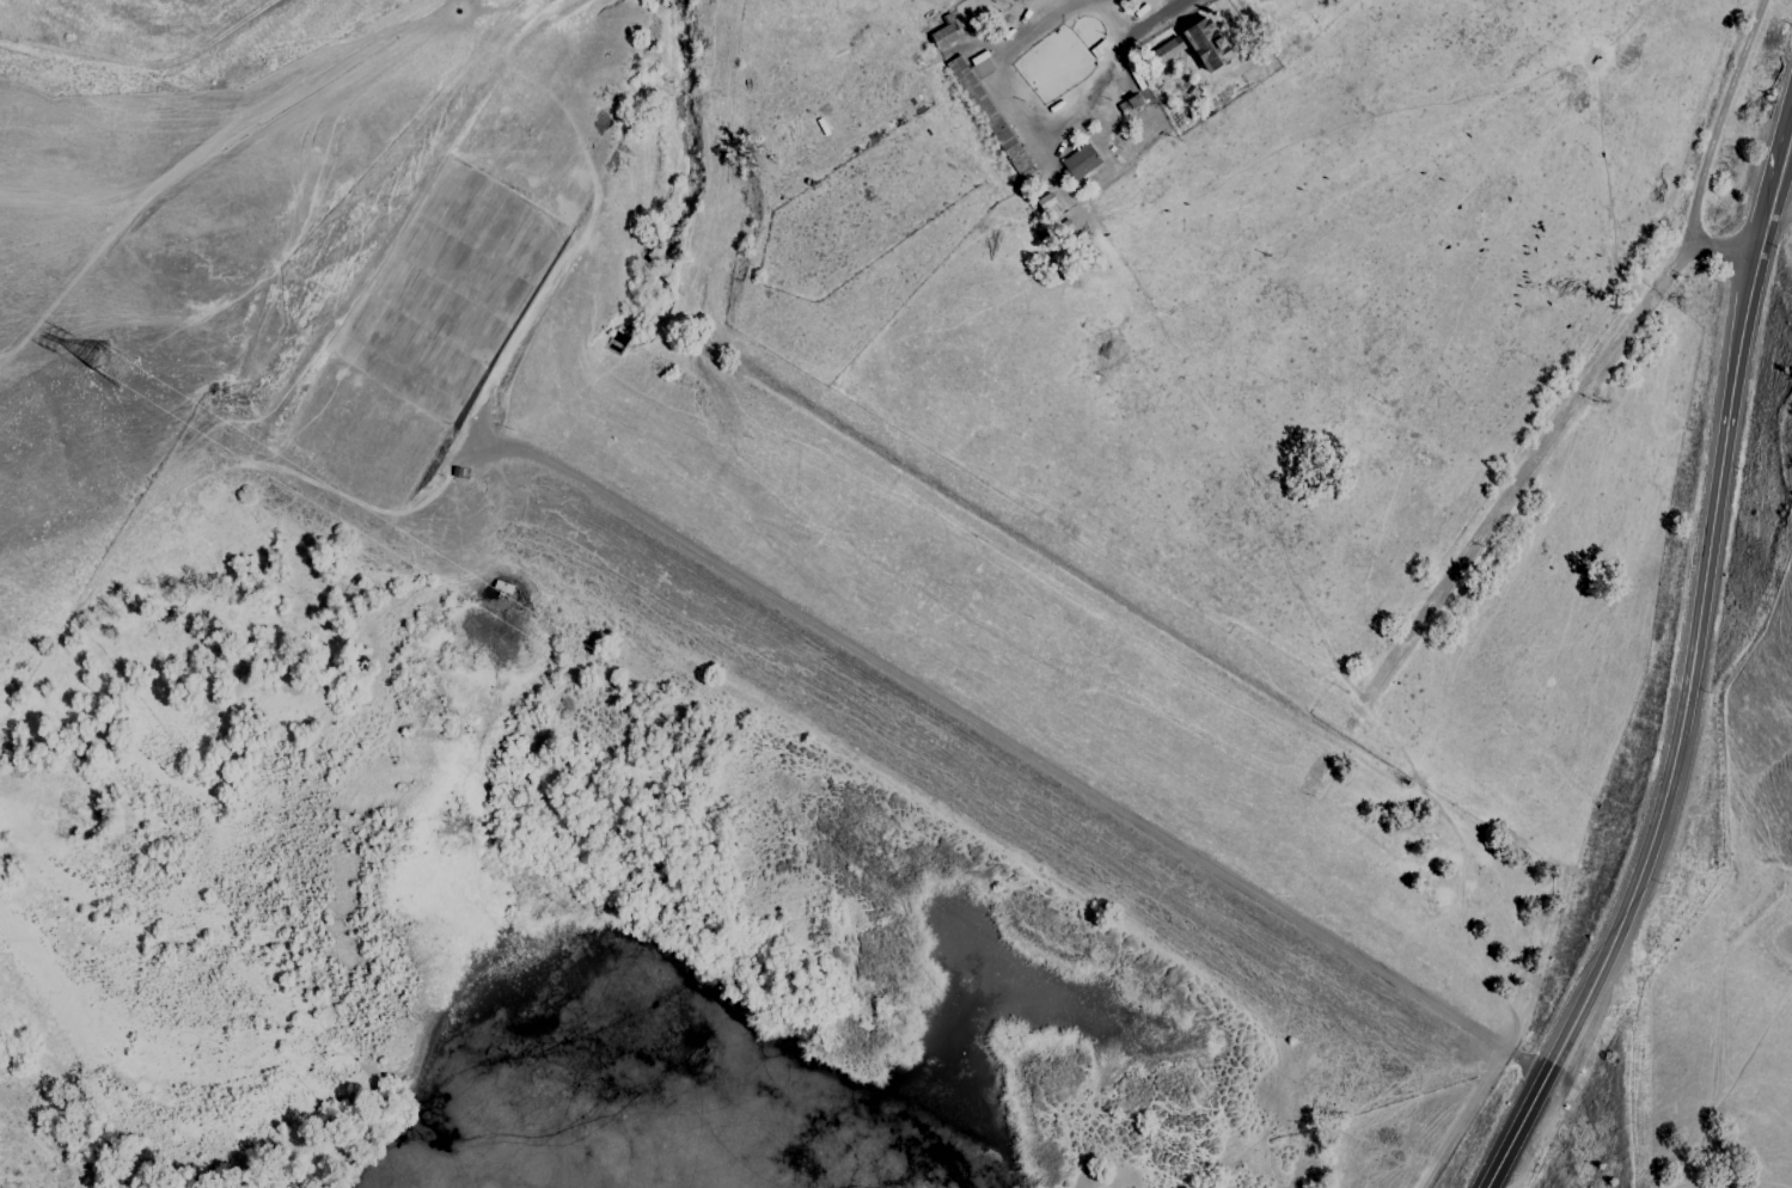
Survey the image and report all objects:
building: (944, 35)
building: (1205, 43)
building: (1164, 50)
road: (143, 62)
building: (990, 112)
road: (1044, 130)
road: (1707, 154)
building: (1080, 161)
park: (163, 276)
park: (1286, 313)
power tower: (118, 372)
road: (1693, 678)
park: (1737, 963)

